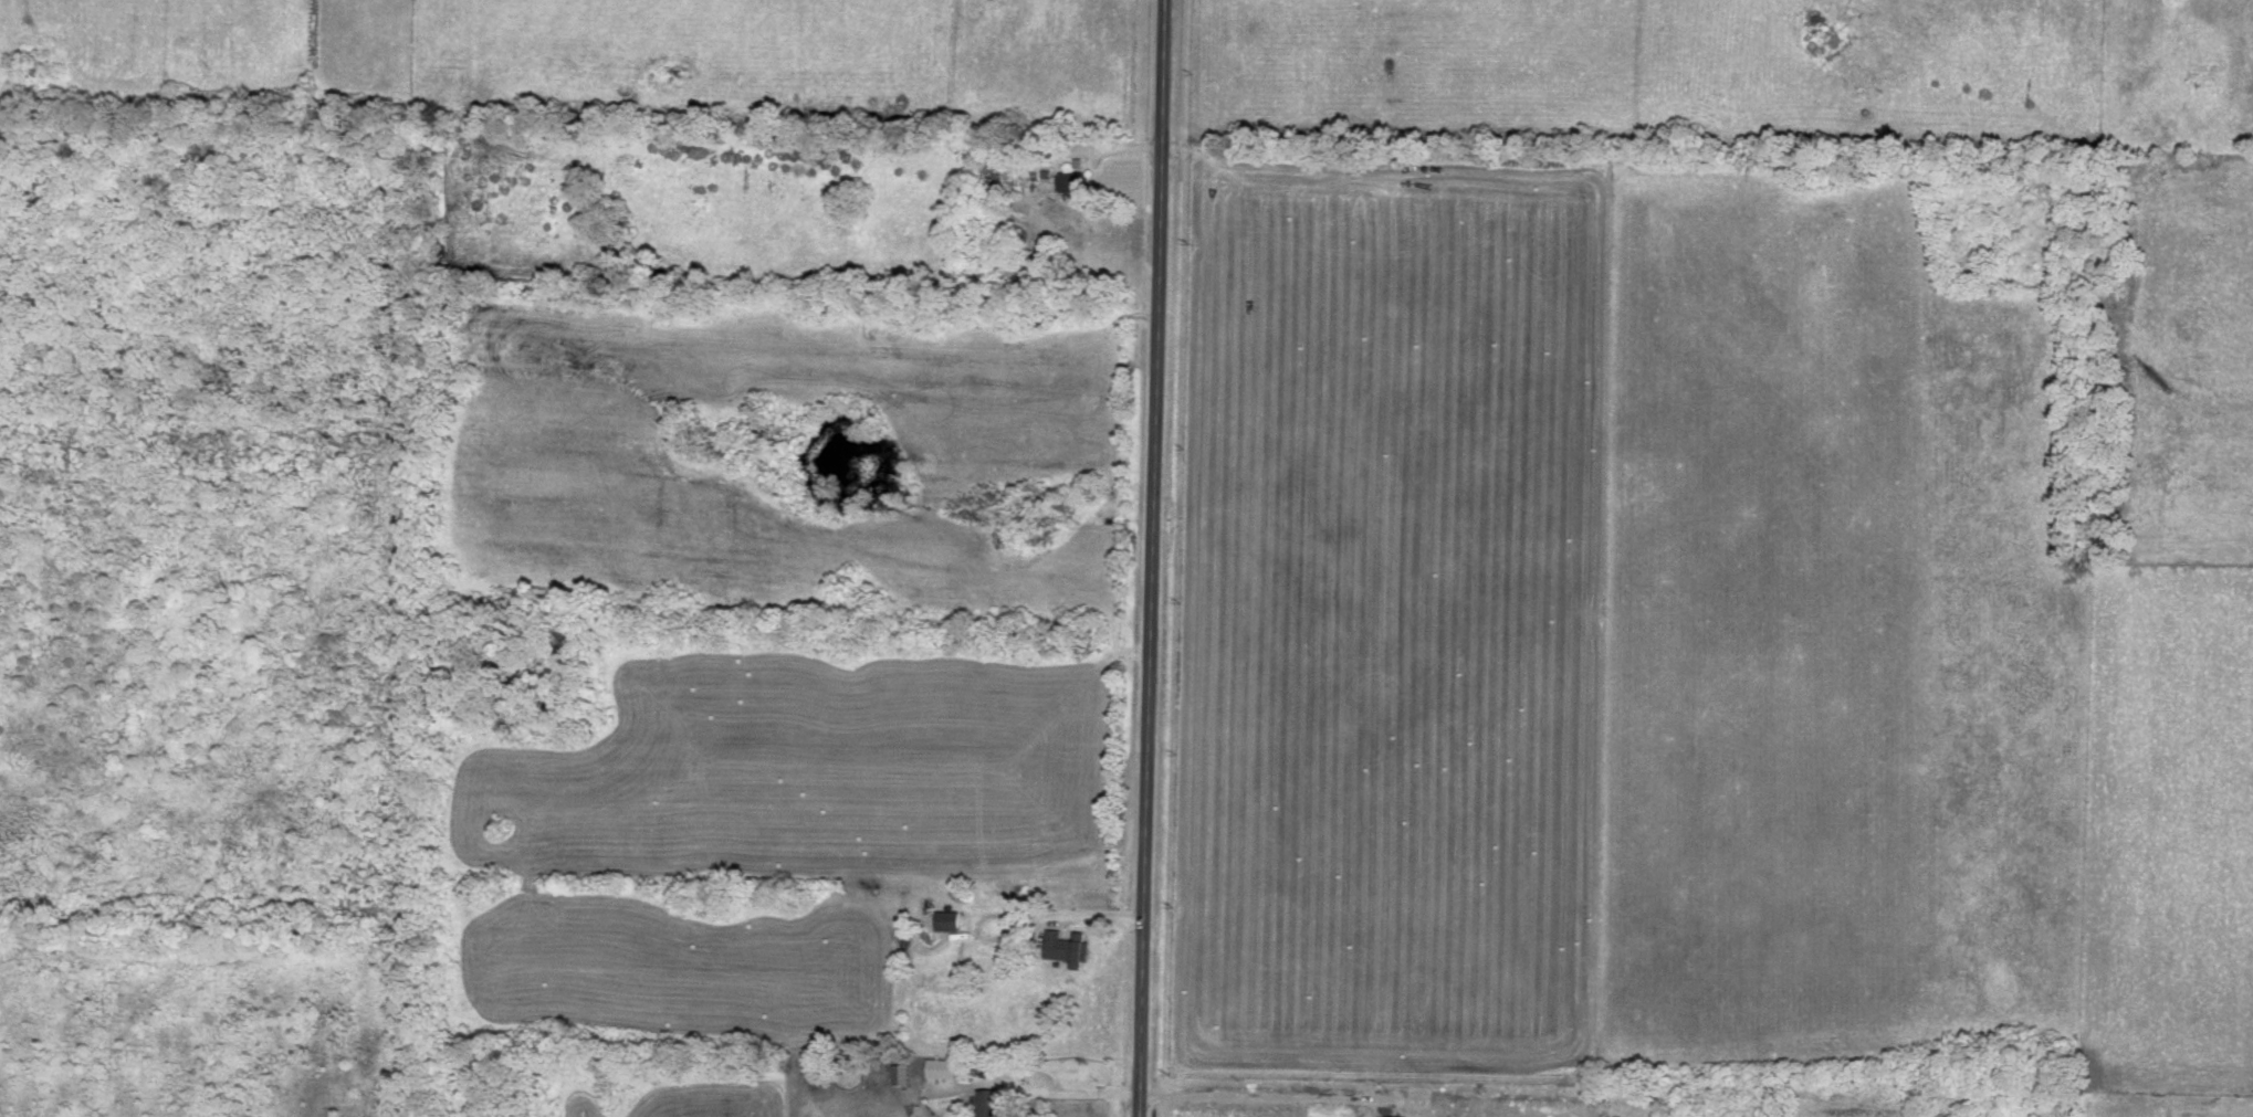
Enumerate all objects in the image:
road: (1123, 150)
building: (1075, 179)
road: (1150, 558)
building: (952, 918)
building: (1069, 945)
building: (946, 1065)
building: (903, 1072)
road: (1033, 1093)
road: (1269, 1099)
building: (994, 1103)
road: (2240, 1113)
building: (1395, 1115)

